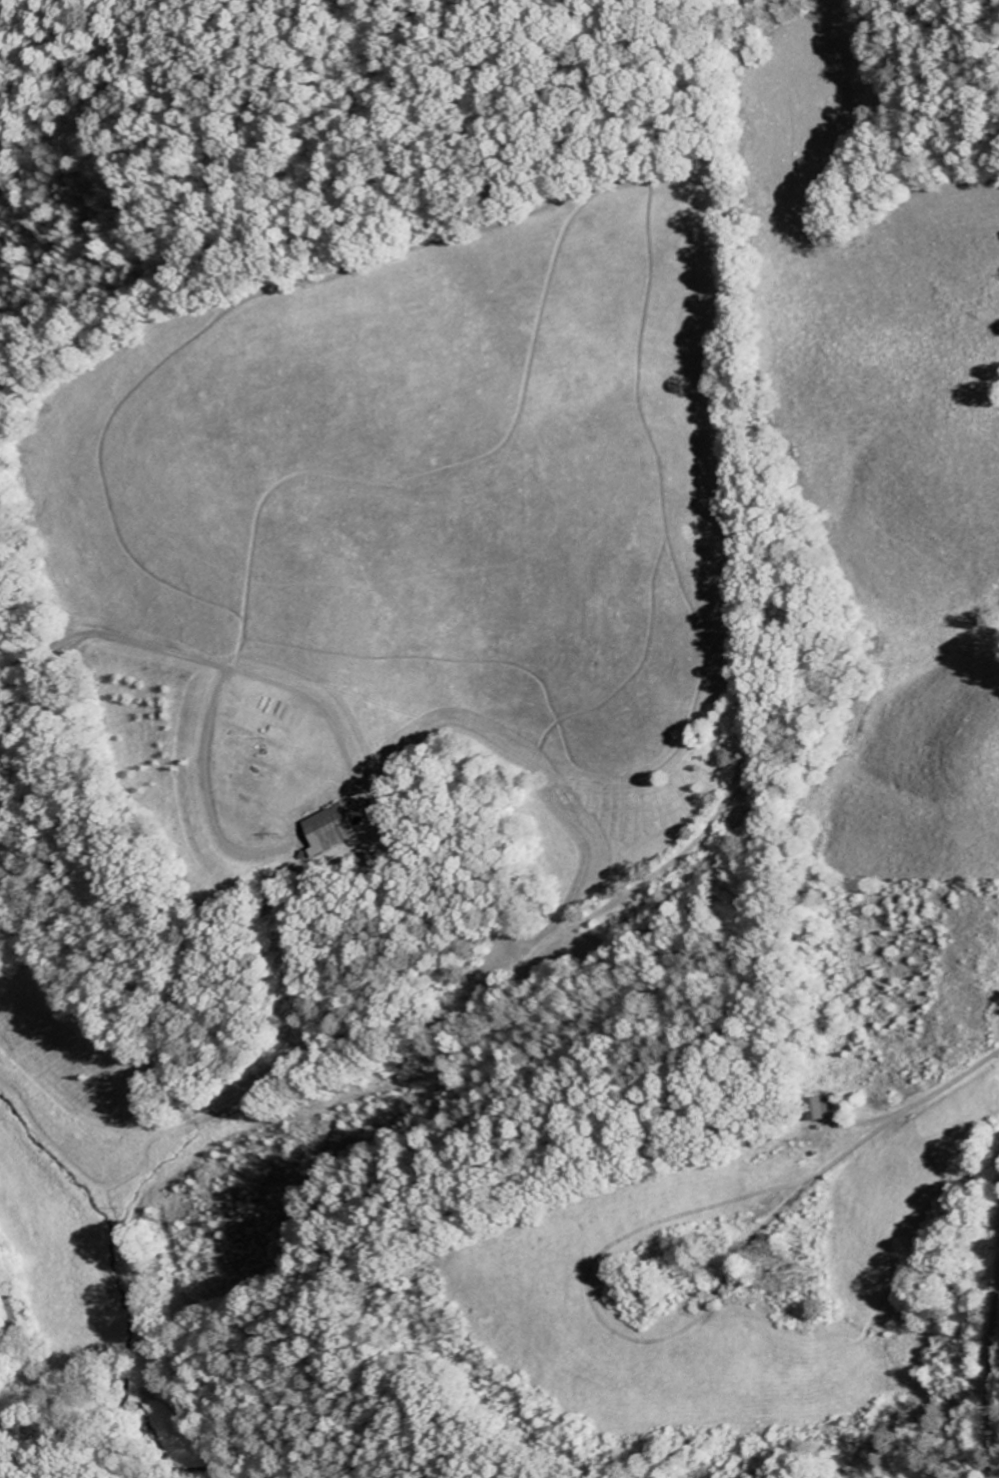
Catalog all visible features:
building: (342, 830)
road: (49, 1392)
road: (992, 1402)

